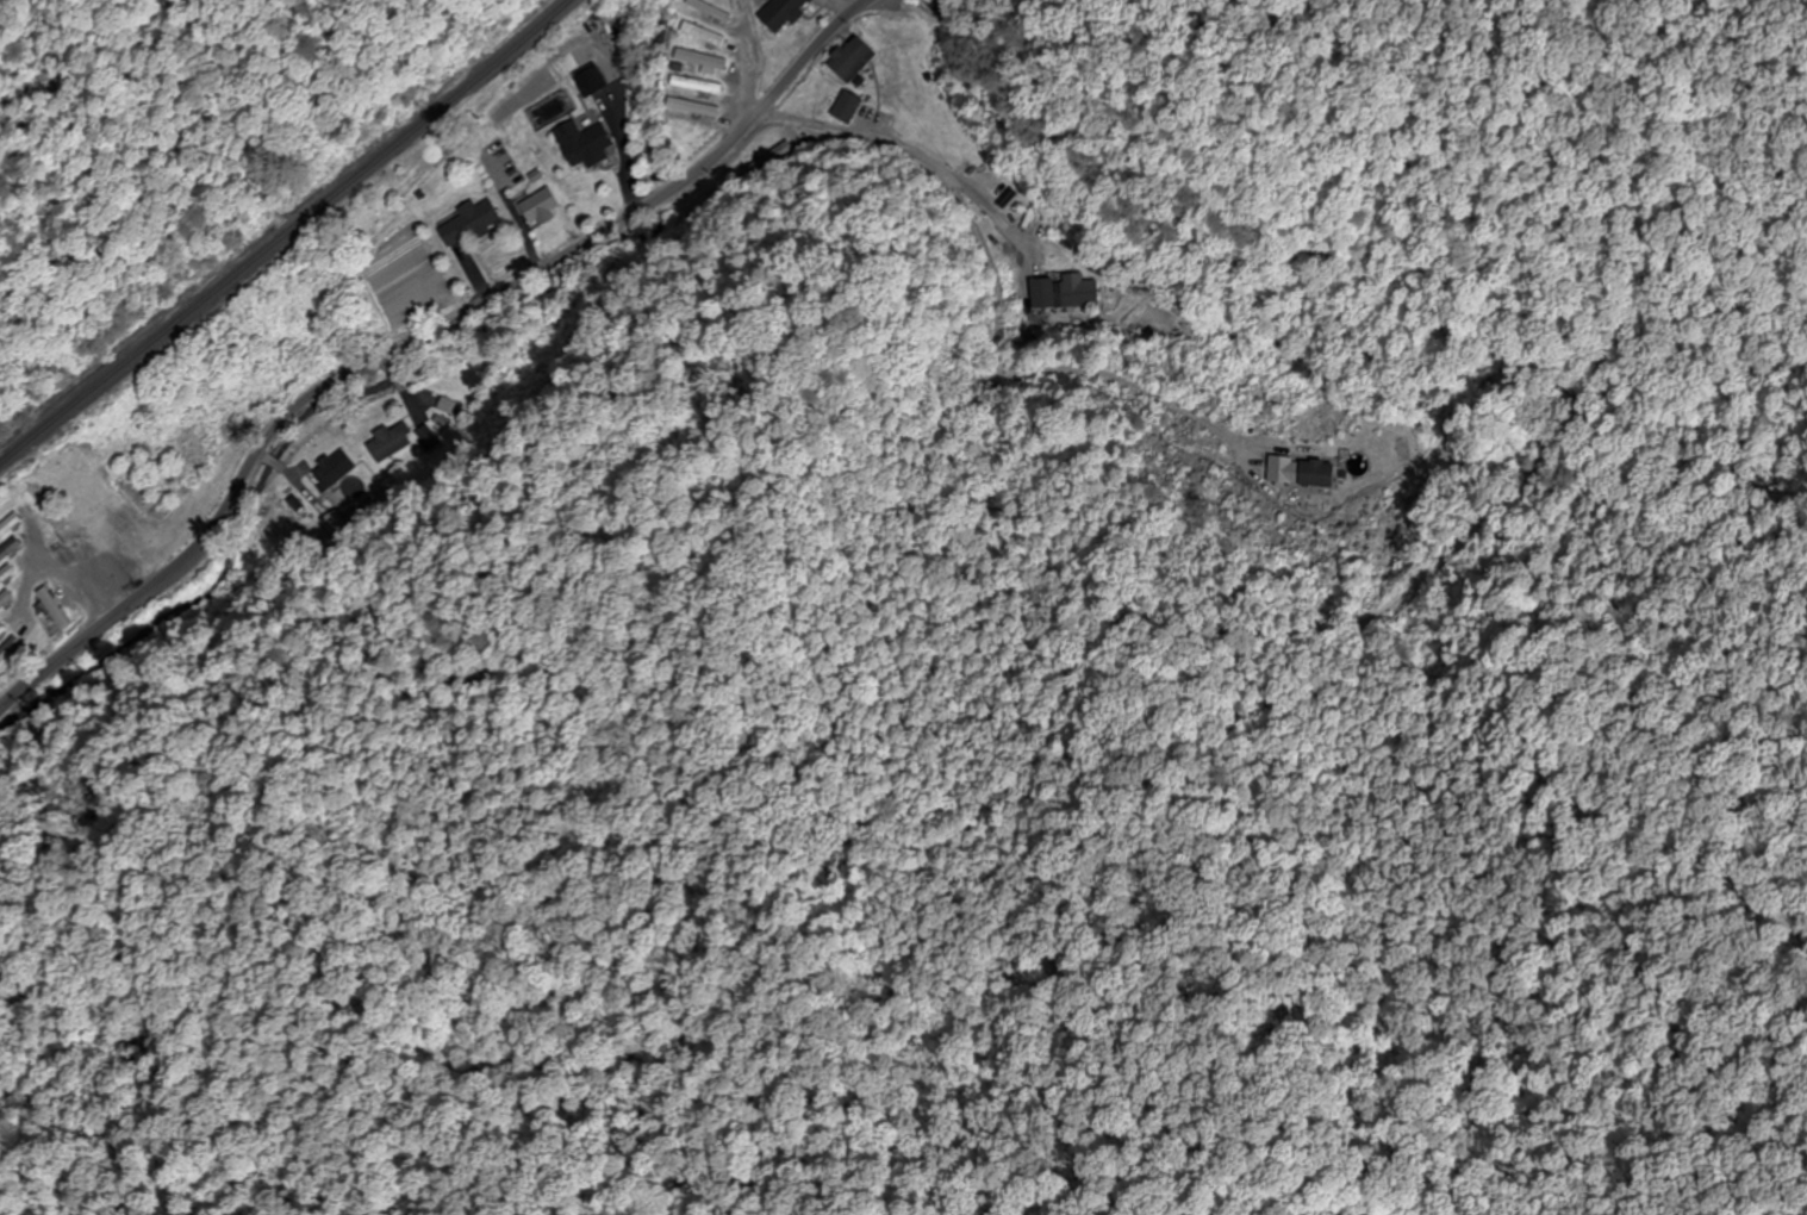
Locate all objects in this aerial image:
building: (711, 11)
building: (786, 13)
building: (901, 35)
building: (705, 36)
building: (855, 60)
building: (703, 61)
building: (594, 82)
building: (699, 86)
building: (698, 108)
building: (847, 108)
building: (588, 147)
building: (771, 158)
building: (543, 208)
building: (473, 224)
railway: (285, 232)
building: (1065, 294)
road: (417, 341)
building: (391, 443)
building: (335, 471)
building: (1306, 473)
building: (48, 509)
building: (10, 525)
building: (10, 549)
building: (7, 575)
road: (42, 584)
building: (6, 600)
building: (54, 612)
building: (2, 631)
building: (10, 650)

